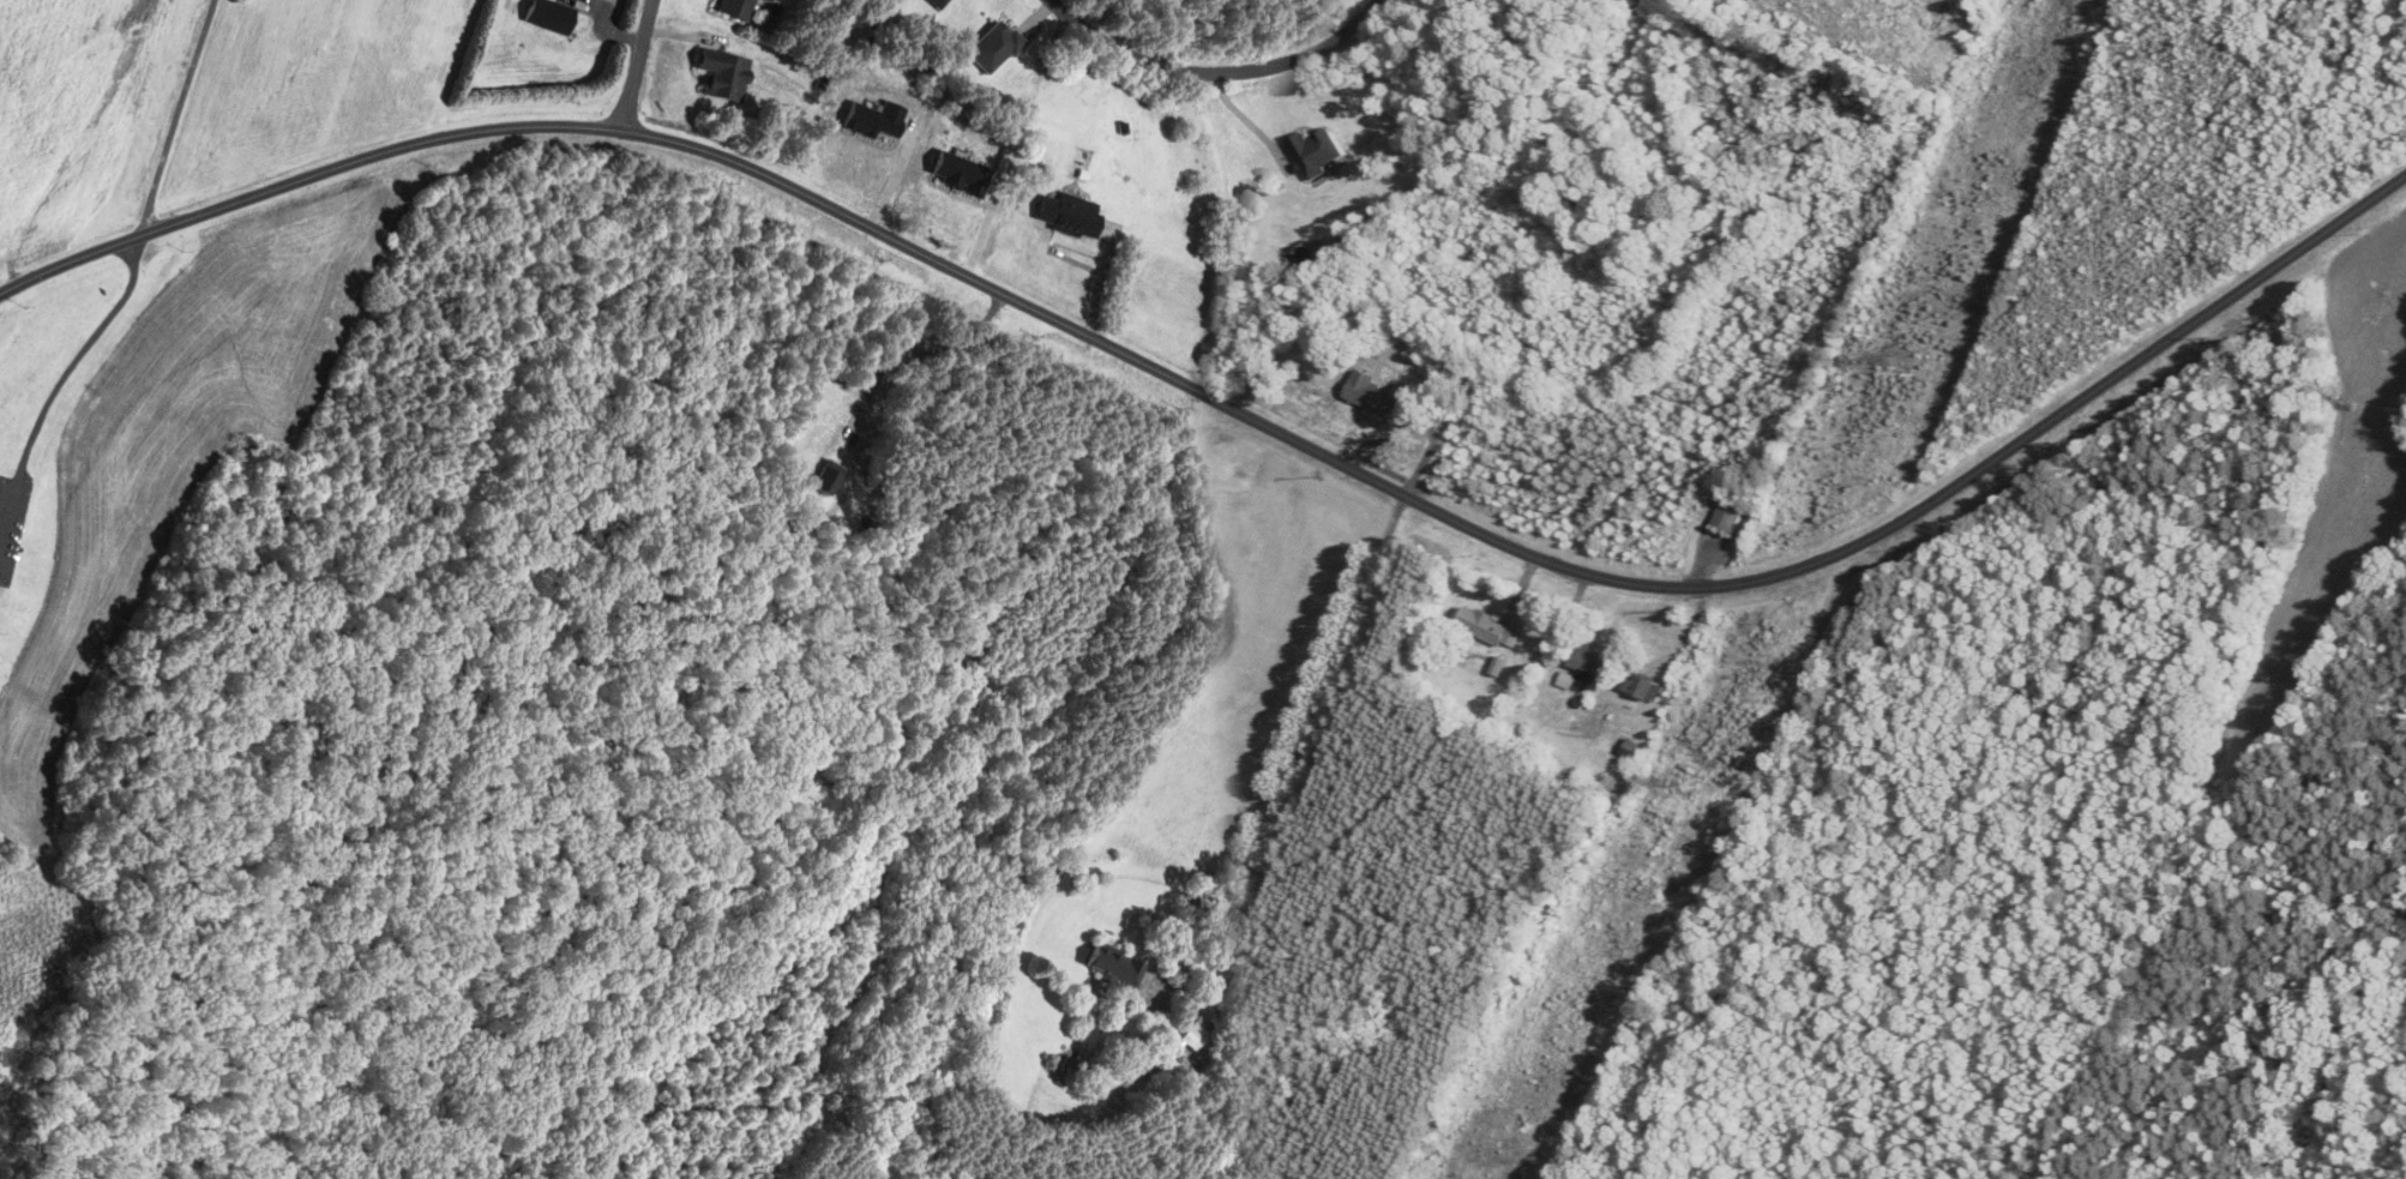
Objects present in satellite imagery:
building: (764, 1)
building: (933, 2)
building: (733, 10)
road: (638, 65)
road: (1215, 71)
building: (721, 77)
road: (175, 116)
road: (1249, 120)
building: (1066, 216)
building: (1454, 360)
power tower: (1899, 363)
road: (60, 380)
building: (1371, 396)
road: (1235, 409)
road: (1416, 420)
building: (1727, 516)
building: (1481, 626)
building: (1584, 664)
building: (1643, 688)
road: (1305, 742)
power tower: (1683, 781)
building: (36, 848)
building: (1112, 966)
building: (1187, 1040)

